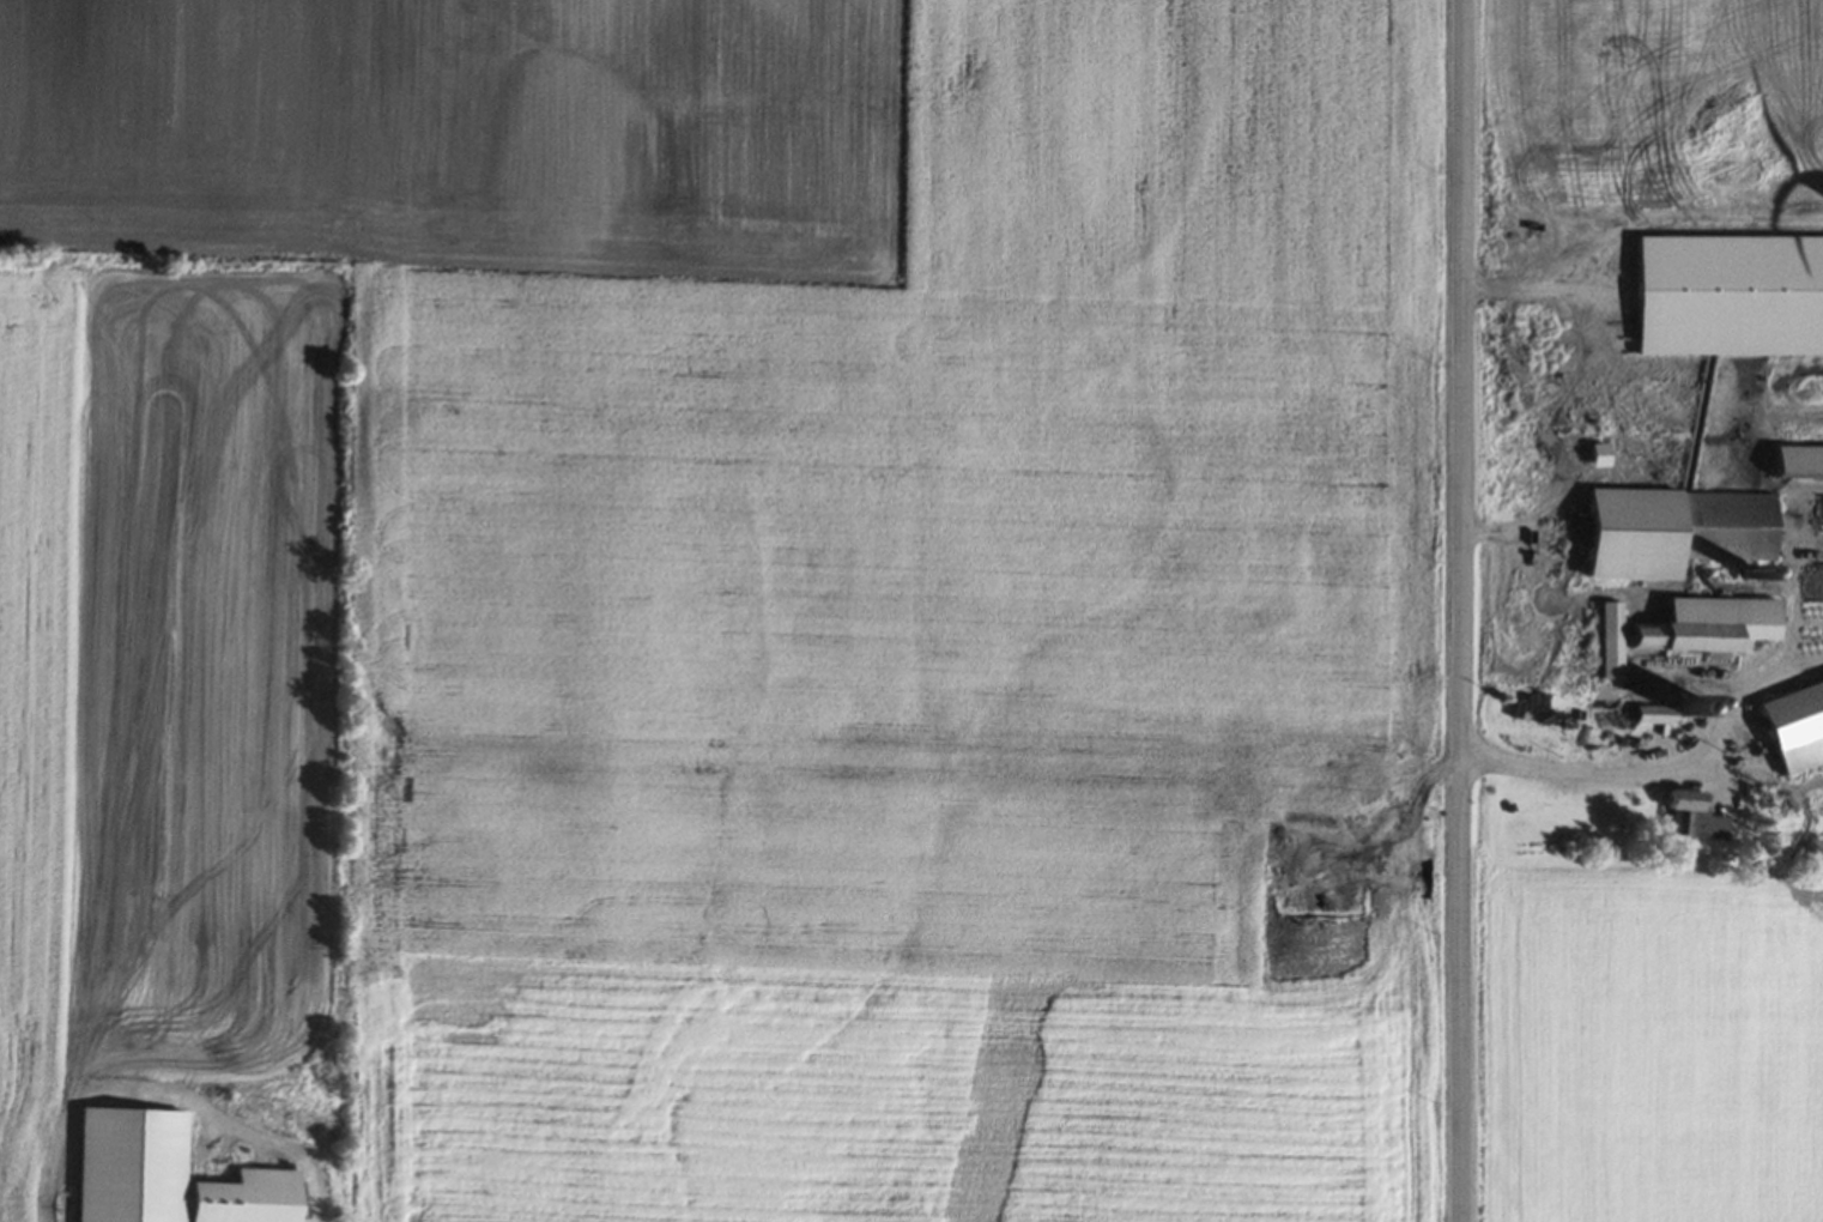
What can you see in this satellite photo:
building: (1794, 462)
building: (1666, 533)
road: (1462, 611)
building: (1701, 628)
building: (1606, 642)
building: (1651, 716)
building: (1792, 726)
road: (1609, 774)
building: (1686, 815)

